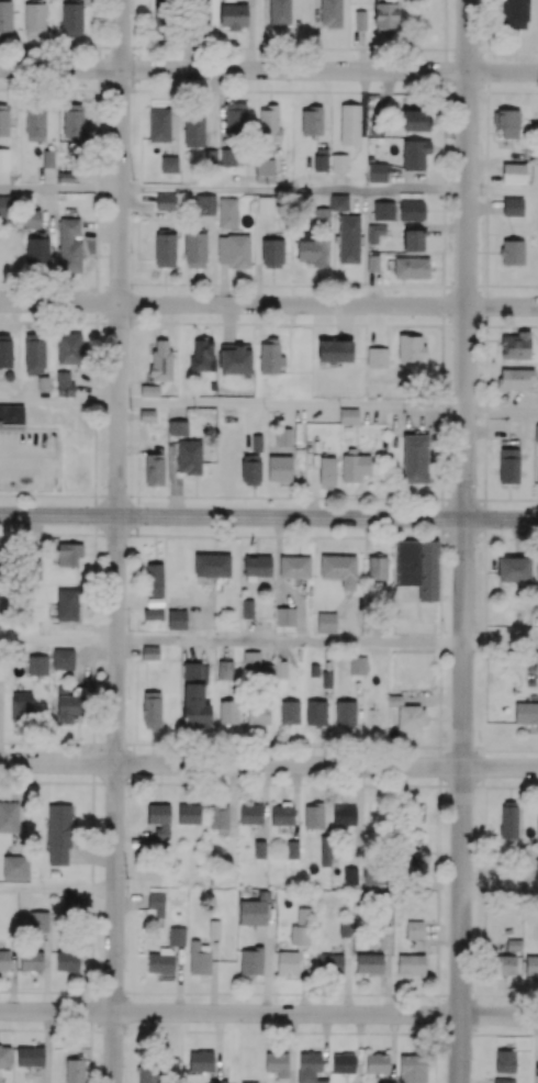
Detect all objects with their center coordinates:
road: (269, 69)
road: (59, 189)
road: (293, 189)
road: (502, 190)
road: (464, 258)
road: (269, 304)
street lamp: (480, 323)
road: (59, 402)
road: (291, 404)
road: (501, 411)
street lamp: (24, 431)
road: (26, 457)
street lamp: (65, 488)
road: (269, 516)
street lamp: (136, 537)
street lamp: (502, 537)
street lamp: (236, 538)
road: (115, 540)
road: (414, 638)
road: (57, 639)
road: (289, 641)
road: (501, 643)
street lamp: (480, 741)
road: (268, 764)
road: (461, 800)
road: (57, 890)
road: (500, 894)
road: (269, 1013)

